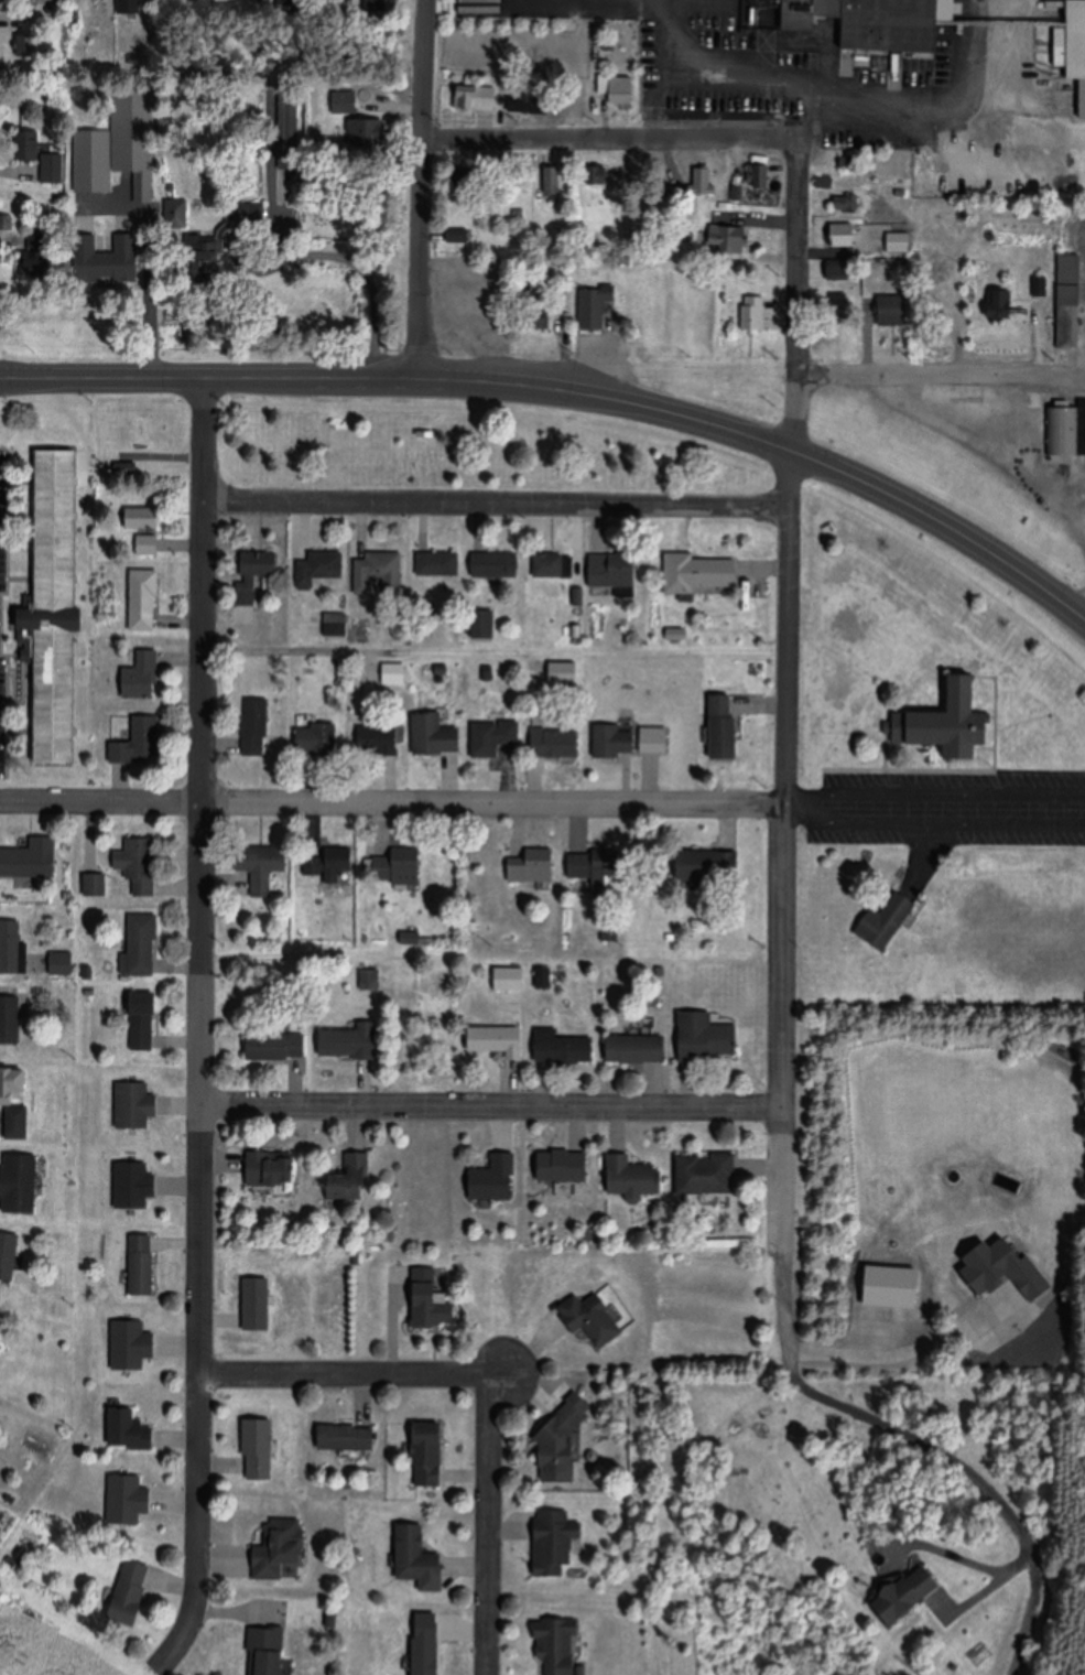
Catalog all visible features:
building: (131, 6)
building: (874, 22)
building: (22, 42)
building: (1078, 51)
building: (604, 84)
building: (622, 99)
building: (486, 100)
building: (529, 104)
road: (864, 104)
building: (290, 110)
road: (794, 114)
road: (606, 134)
building: (135, 140)
building: (94, 161)
building: (54, 169)
building: (464, 181)
building: (705, 181)
road: (417, 190)
building: (847, 203)
building: (846, 236)
building: (730, 239)
road: (307, 253)
building: (98, 259)
building: (43, 269)
building: (842, 274)
road: (145, 289)
building: (1003, 304)
building: (595, 309)
building: (896, 311)
building: (842, 312)
building: (753, 317)
building: (1073, 317)
road: (937, 368)
road: (568, 393)
building: (1067, 431)
road: (977, 449)
road: (493, 502)
building: (143, 518)
building: (148, 544)
building: (440, 563)
building: (497, 563)
building: (553, 564)
building: (321, 569)
building: (614, 572)
building: (696, 572)
building: (254, 574)
building: (377, 576)
building: (144, 599)
road: (1081, 605)
building: (57, 607)
building: (336, 624)
building: (484, 624)
road: (292, 653)
building: (142, 676)
building: (395, 680)
road: (786, 693)
building: (956, 723)
building: (256, 726)
building: (723, 730)
building: (435, 735)
building: (493, 736)
building: (317, 738)
building: (379, 739)
building: (653, 739)
building: (612, 741)
building: (140, 742)
building: (555, 743)
road: (945, 795)
road: (392, 802)
road: (932, 828)
building: (31, 860)
building: (328, 865)
building: (139, 866)
building: (707, 866)
building: (262, 867)
building: (593, 868)
building: (378, 869)
building: (531, 869)
building: (408, 874)
building: (100, 889)
building: (888, 922)
building: (144, 944)
building: (13, 948)
building: (10, 1020)
building: (143, 1020)
road: (196, 1031)
building: (707, 1036)
building: (497, 1040)
building: (348, 1042)
building: (275, 1046)
building: (562, 1047)
building: (636, 1048)
building: (17, 1102)
building: (135, 1105)
road: (490, 1107)
building: (562, 1167)
building: (270, 1171)
building: (706, 1174)
building: (350, 1178)
building: (631, 1178)
building: (493, 1179)
building: (22, 1184)
building: (134, 1185)
building: (9, 1257)
building: (142, 1265)
building: (433, 1310)
building: (589, 1318)
building: (0, 1325)
road: (346, 1373)
building: (129, 1431)
building: (346, 1437)
building: (560, 1440)
road: (940, 1441)
building: (258, 1449)
building: (428, 1456)
road: (490, 1524)
building: (551, 1542)
building: (281, 1549)
building: (417, 1555)
building: (132, 1592)
building: (910, 1595)
building: (555, 1646)
building: (269, 1651)

